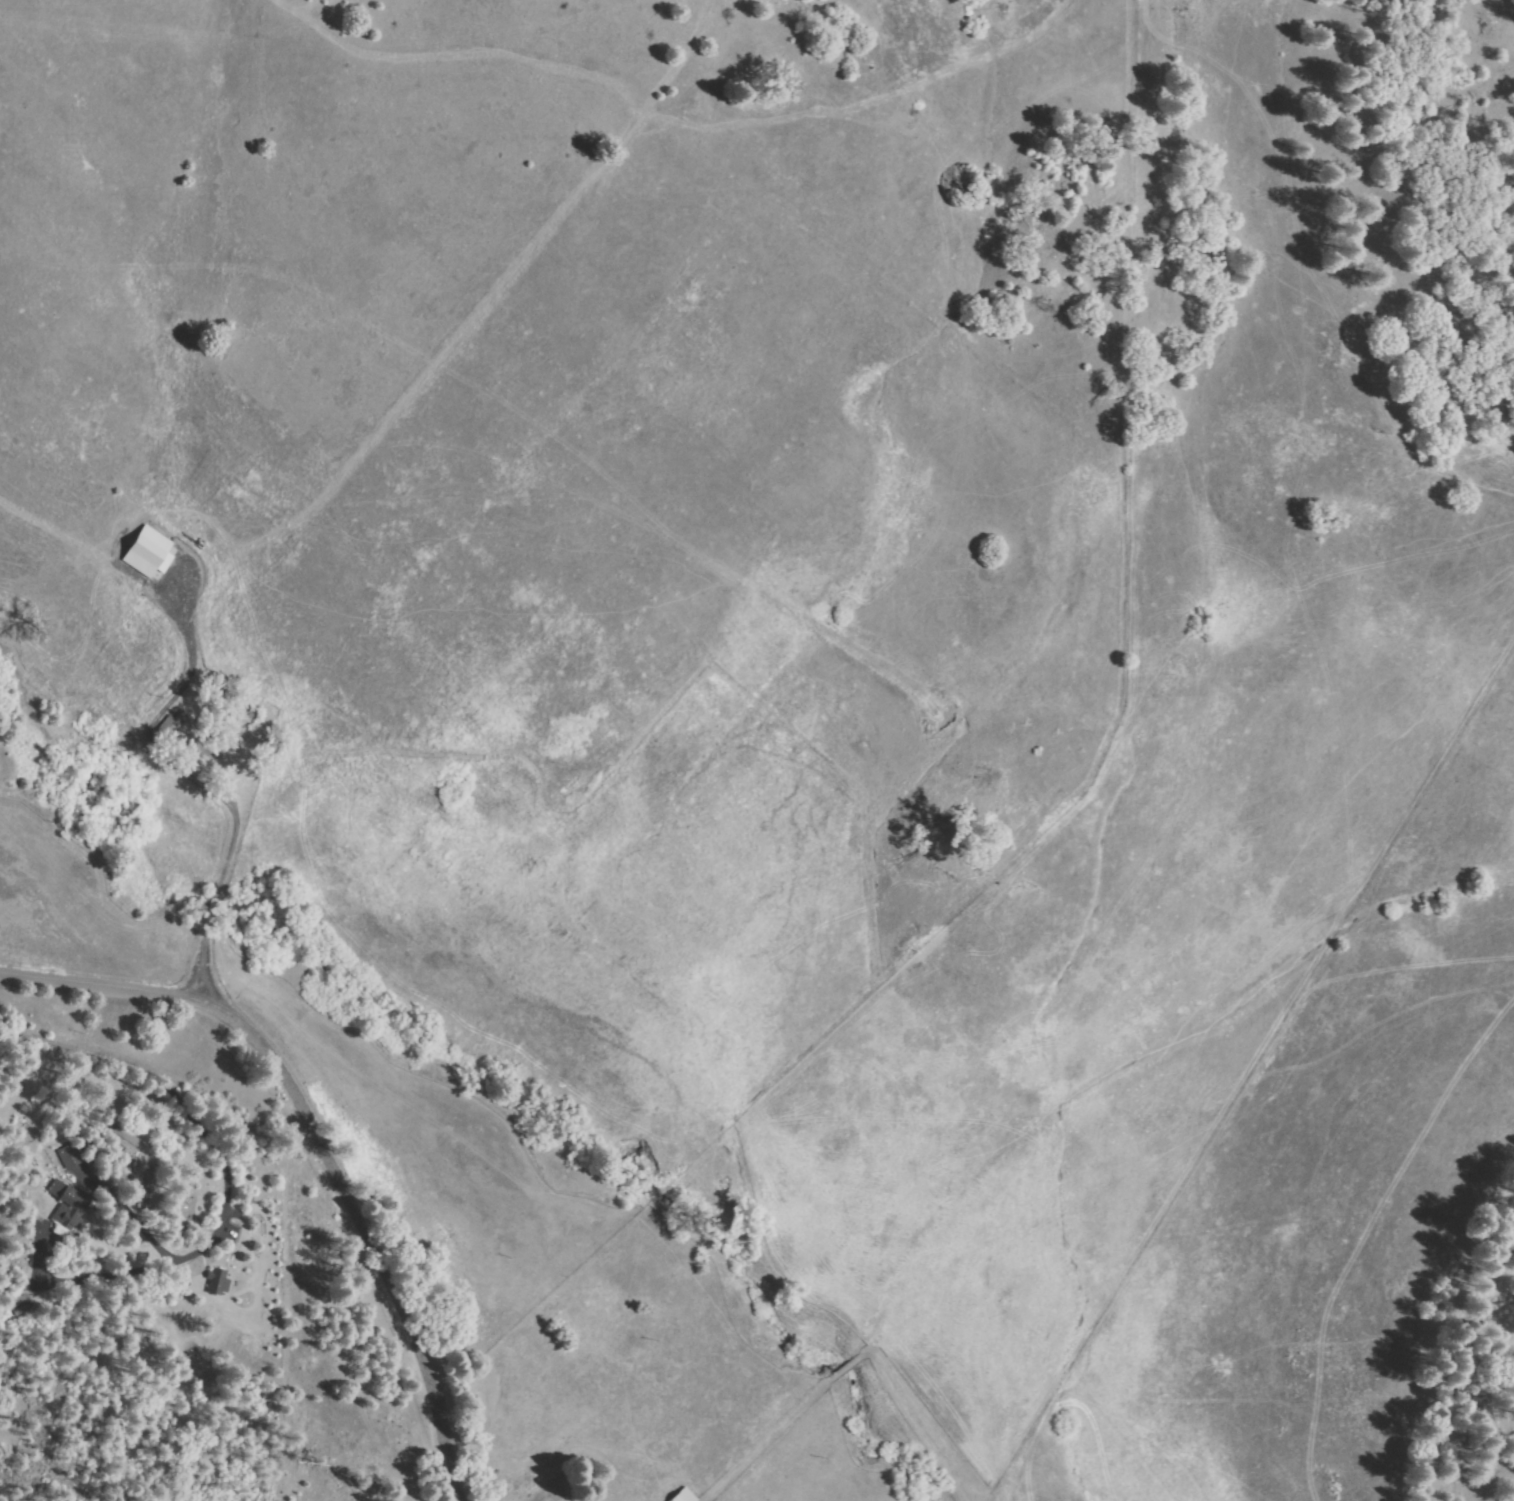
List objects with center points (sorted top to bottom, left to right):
building: (149, 549)
building: (234, 723)
building: (172, 728)
road: (218, 894)
road: (1059, 1122)
road: (323, 1139)
building: (69, 1154)
building: (67, 1206)
building: (217, 1282)
building: (19, 1304)
building: (685, 1496)

